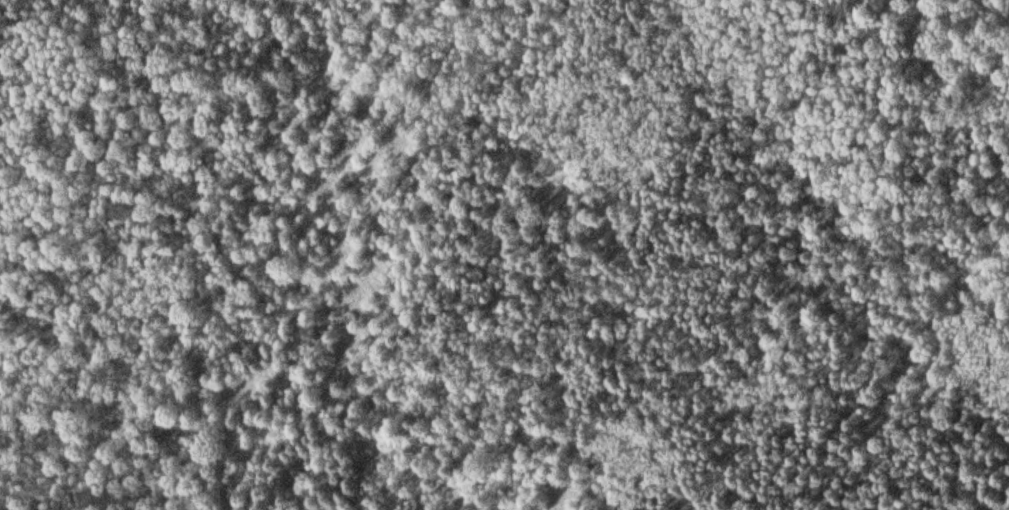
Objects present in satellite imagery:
road: (1000, 5)

